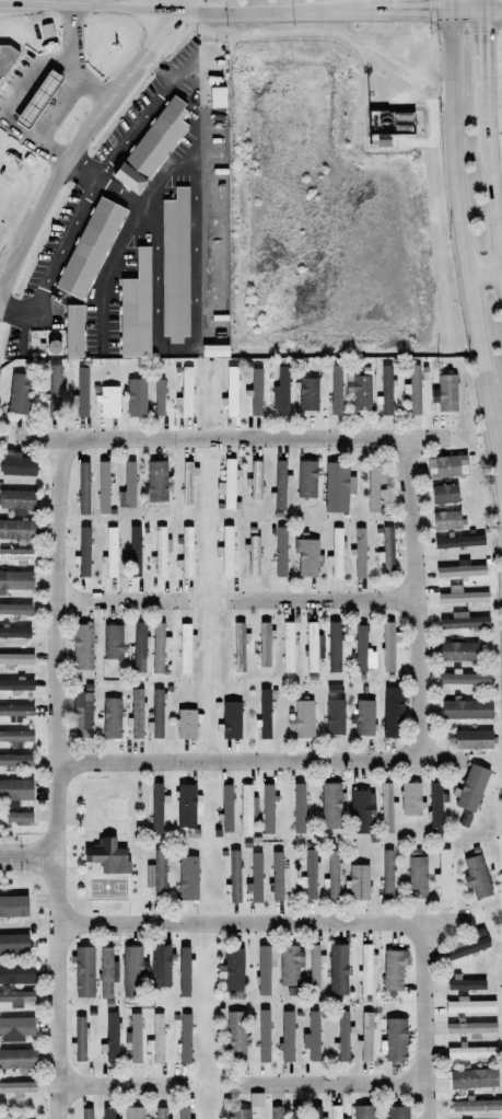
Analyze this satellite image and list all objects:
road: (168, 5)
road: (448, 7)
road: (486, 7)
road: (84, 9)
road: (493, 12)
road: (407, 13)
traffic signals: (450, 13)
road: (467, 13)
traffic signals: (486, 13)
road: (266, 14)
building: (48, 35)
road: (486, 49)
road: (73, 60)
road: (161, 66)
building: (2, 69)
building: (218, 93)
building: (38, 100)
road: (49, 119)
road: (136, 130)
road: (79, 141)
building: (152, 146)
road: (80, 174)
road: (489, 175)
building: (89, 246)
road: (464, 250)
road: (59, 251)
building: (175, 266)
road: (485, 268)
road: (4, 286)
building: (135, 307)
road: (10, 313)
building: (72, 328)
building: (215, 350)
building: (336, 390)
building: (386, 390)
building: (55, 391)
building: (280, 391)
building: (359, 391)
building: (412, 391)
building: (19, 392)
building: (82, 392)
building: (186, 392)
building: (231, 392)
building: (256, 393)
building: (445, 393)
building: (308, 394)
building: (159, 396)
building: (137, 397)
building: (109, 401)
road: (233, 437)
building: (16, 463)
building: (445, 464)
building: (254, 480)
building: (307, 480)
building: (155, 481)
building: (188, 482)
building: (226, 483)
building: (127, 484)
building: (280, 485)
building: (338, 486)
building: (374, 486)
building: (82, 487)
building: (103, 487)
building: (444, 494)
building: (17, 500)
building: (446, 520)
building: (16, 530)
building: (459, 541)
building: (110, 550)
building: (159, 551)
building: (226, 551)
building: (84, 552)
building: (135, 552)
building: (187, 552)
building: (280, 552)
building: (360, 552)
building: (387, 552)
building: (336, 553)
building: (15, 554)
building: (253, 556)
building: (307, 557)
building: (462, 570)
building: (15, 579)
building: (463, 596)
road: (416, 598)
road: (320, 599)
road: (124, 600)
building: (14, 608)
building: (464, 621)
building: (14, 631)
building: (113, 642)
building: (264, 644)
building: (287, 645)
building: (238, 646)
building: (83, 647)
building: (139, 647)
building: (160, 647)
building: (186, 647)
building: (313, 647)
building: (336, 647)
building: (389, 647)
building: (363, 650)
building: (458, 651)
building: (16, 659)
building: (465, 679)
building: (15, 683)
building: (466, 710)
building: (16, 711)
building: (392, 711)
building: (81, 713)
building: (137, 714)
building: (157, 714)
building: (265, 714)
building: (110, 716)
building: (335, 717)
building: (363, 718)
building: (232, 719)
building: (303, 719)
building: (187, 724)
building: (15, 736)
building: (472, 738)
building: (15, 759)
road: (260, 761)
road: (56, 777)
building: (15, 788)
building: (472, 788)
building: (410, 799)
building: (186, 804)
building: (329, 805)
building: (156, 807)
building: (246, 807)
building: (385, 807)
building: (226, 808)
building: (267, 808)
building: (299, 808)
building: (361, 811)
building: (19, 818)
building: (465, 820)
road: (10, 856)
road: (38, 856)
building: (107, 856)
building: (308, 873)
building: (443, 873)
building: (157, 875)
building: (332, 875)
building: (387, 875)
building: (233, 876)
building: (255, 876)
building: (277, 876)
building: (418, 876)
building: (477, 877)
building: (188, 878)
building: (358, 882)
building: (13, 904)
road: (261, 921)
building: (13, 942)
building: (468, 944)
building: (289, 964)
building: (314, 965)
building: (264, 966)
building: (160, 967)
building: (233, 967)
building: (366, 968)
building: (393, 968)
building: (338, 969)
building: (133, 971)
building: (183, 971)
building: (84, 972)
building: (107, 972)
building: (16, 973)
building: (465, 983)
building: (291, 990)
building: (16, 995)
building: (469, 1005)
road: (425, 1019)
building: (15, 1027)
building: (471, 1029)
building: (234, 1036)
building: (264, 1036)
building: (314, 1036)
building: (343, 1036)
building: (365, 1036)
building: (156, 1037)
building: (287, 1037)
building: (112, 1038)
building: (132, 1038)
building: (185, 1038)
building: (80, 1039)
building: (395, 1040)
building: (469, 1050)
building: (16, 1057)
building: (472, 1078)
road: (330, 1084)
road: (122, 1085)
building: (19, 1087)
building: (256, 1099)
building: (477, 1105)
building: (364, 1111)
building: (133, 1112)
building: (161, 1112)
building: (182, 1112)
building: (276, 1112)
building: (316, 1112)
building: (336, 1112)
building: (397, 1112)
building: (86, 1114)
building: (107, 1114)
building: (240, 1114)

